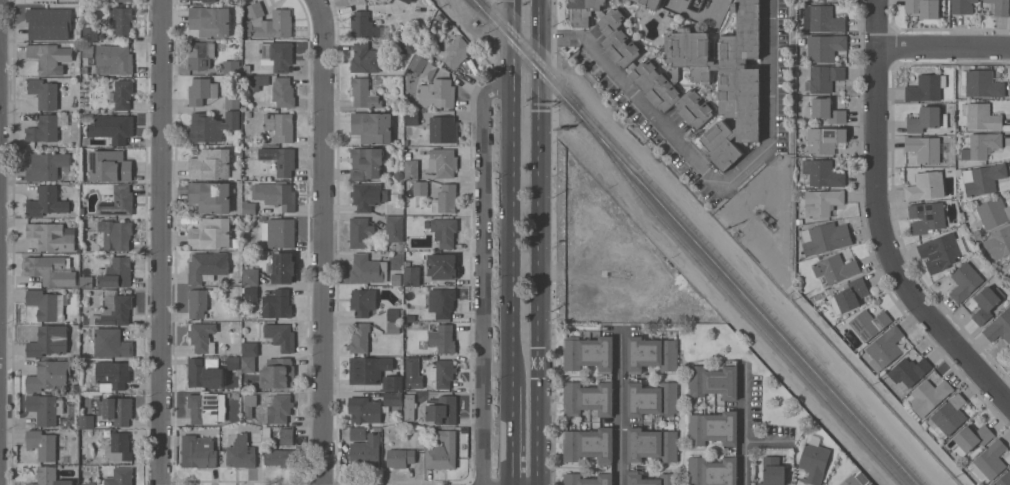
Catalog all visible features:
petroleum well: (698, 0)
building: (728, 0)
building: (124, 1)
building: (208, 1)
building: (407, 1)
building: (649, 3)
building: (962, 6)
building: (1000, 7)
building: (923, 8)
building: (583, 10)
building: (821, 19)
building: (122, 20)
building: (210, 21)
building: (269, 21)
building: (43, 25)
building: (363, 26)
building: (90, 34)
building: (617, 39)
building: (406, 46)
building: (825, 47)
road: (944, 47)
building: (456, 52)
building: (276, 55)
building: (198, 56)
building: (49, 58)
building: (115, 58)
building: (365, 59)
building: (417, 64)
building: (231, 68)
building: (725, 79)
building: (823, 79)
building: (255, 81)
building: (982, 83)
building: (925, 88)
building: (201, 91)
building: (283, 92)
building: (44, 93)
building: (363, 93)
building: (436, 94)
building: (123, 95)
building: (670, 95)
building: (232, 98)
building: (393, 103)
building: (825, 111)
building: (981, 116)
building: (87, 118)
building: (411, 118)
building: (926, 119)
building: (211, 126)
building: (112, 127)
building: (284, 127)
building: (372, 127)
building: (46, 128)
building: (443, 129)
building: (824, 139)
building: (981, 146)
building: (926, 149)
building: (279, 160)
building: (443, 162)
building: (366, 163)
building: (210, 164)
building: (46, 166)
building: (108, 166)
building: (410, 168)
building: (822, 173)
road: (706, 175)
building: (983, 178)
building: (925, 186)
building: (420, 188)
road: (512, 191)
building: (276, 195)
building: (365, 196)
building: (210, 197)
building: (445, 199)
building: (46, 202)
building: (118, 202)
building: (822, 202)
building: (992, 211)
building: (926, 217)
petroleum well: (764, 219)
building: (798, 220)
road: (880, 222)
building: (394, 229)
building: (279, 232)
building: (360, 232)
building: (444, 232)
building: (210, 233)
building: (116, 234)
building: (52, 236)
building: (825, 238)
road: (326, 241)
road: (161, 242)
road: (538, 242)
railway: (695, 242)
railway: (707, 242)
building: (998, 242)
building: (941, 251)
building: (206, 266)
building: (442, 266)
building: (284, 268)
building: (835, 268)
building: (367, 269)
building: (1008, 269)
building: (50, 270)
building: (115, 273)
building: (411, 274)
building: (251, 277)
road: (484, 277)
building: (86, 282)
building: (964, 282)
building: (251, 293)
building: (849, 295)
building: (362, 301)
building: (444, 302)
building: (197, 303)
building: (986, 303)
building: (46, 305)
building: (277, 305)
railway: (739, 305)
building: (117, 311)
building: (394, 314)
building: (868, 324)
building: (999, 326)
building: (392, 327)
building: (279, 336)
building: (441, 337)
building: (202, 338)
building: (359, 338)
building: (48, 341)
building: (111, 343)
building: (884, 348)
building: (250, 349)
building: (233, 362)
building: (248, 364)
building: (412, 367)
building: (368, 369)
building: (909, 371)
building: (277, 373)
building: (442, 373)
building: (112, 374)
building: (203, 374)
building: (49, 376)
building: (607, 376)
building: (631, 376)
building: (713, 381)
building: (392, 383)
building: (235, 394)
building: (928, 396)
building: (392, 398)
building: (71, 403)
building: (249, 404)
building: (408, 406)
road: (619, 407)
building: (45, 408)
building: (207, 408)
building: (278, 408)
building: (365, 409)
building: (116, 410)
building: (442, 410)
building: (912, 413)
building: (948, 417)
building: (86, 421)
building: (103, 423)
road: (741, 423)
building: (357, 433)
road: (511, 434)
building: (286, 436)
building: (971, 438)
building: (41, 444)
building: (118, 447)
building: (732, 449)
building: (442, 451)
building: (198, 452)
building: (241, 452)
building: (365, 452)
building: (589, 454)
building: (650, 454)
building: (278, 457)
building: (399, 457)
building: (988, 462)
building: (813, 463)
building: (773, 471)
building: (49, 477)
building: (119, 477)
building: (1004, 479)
building: (851, 481)
building: (88, 483)

